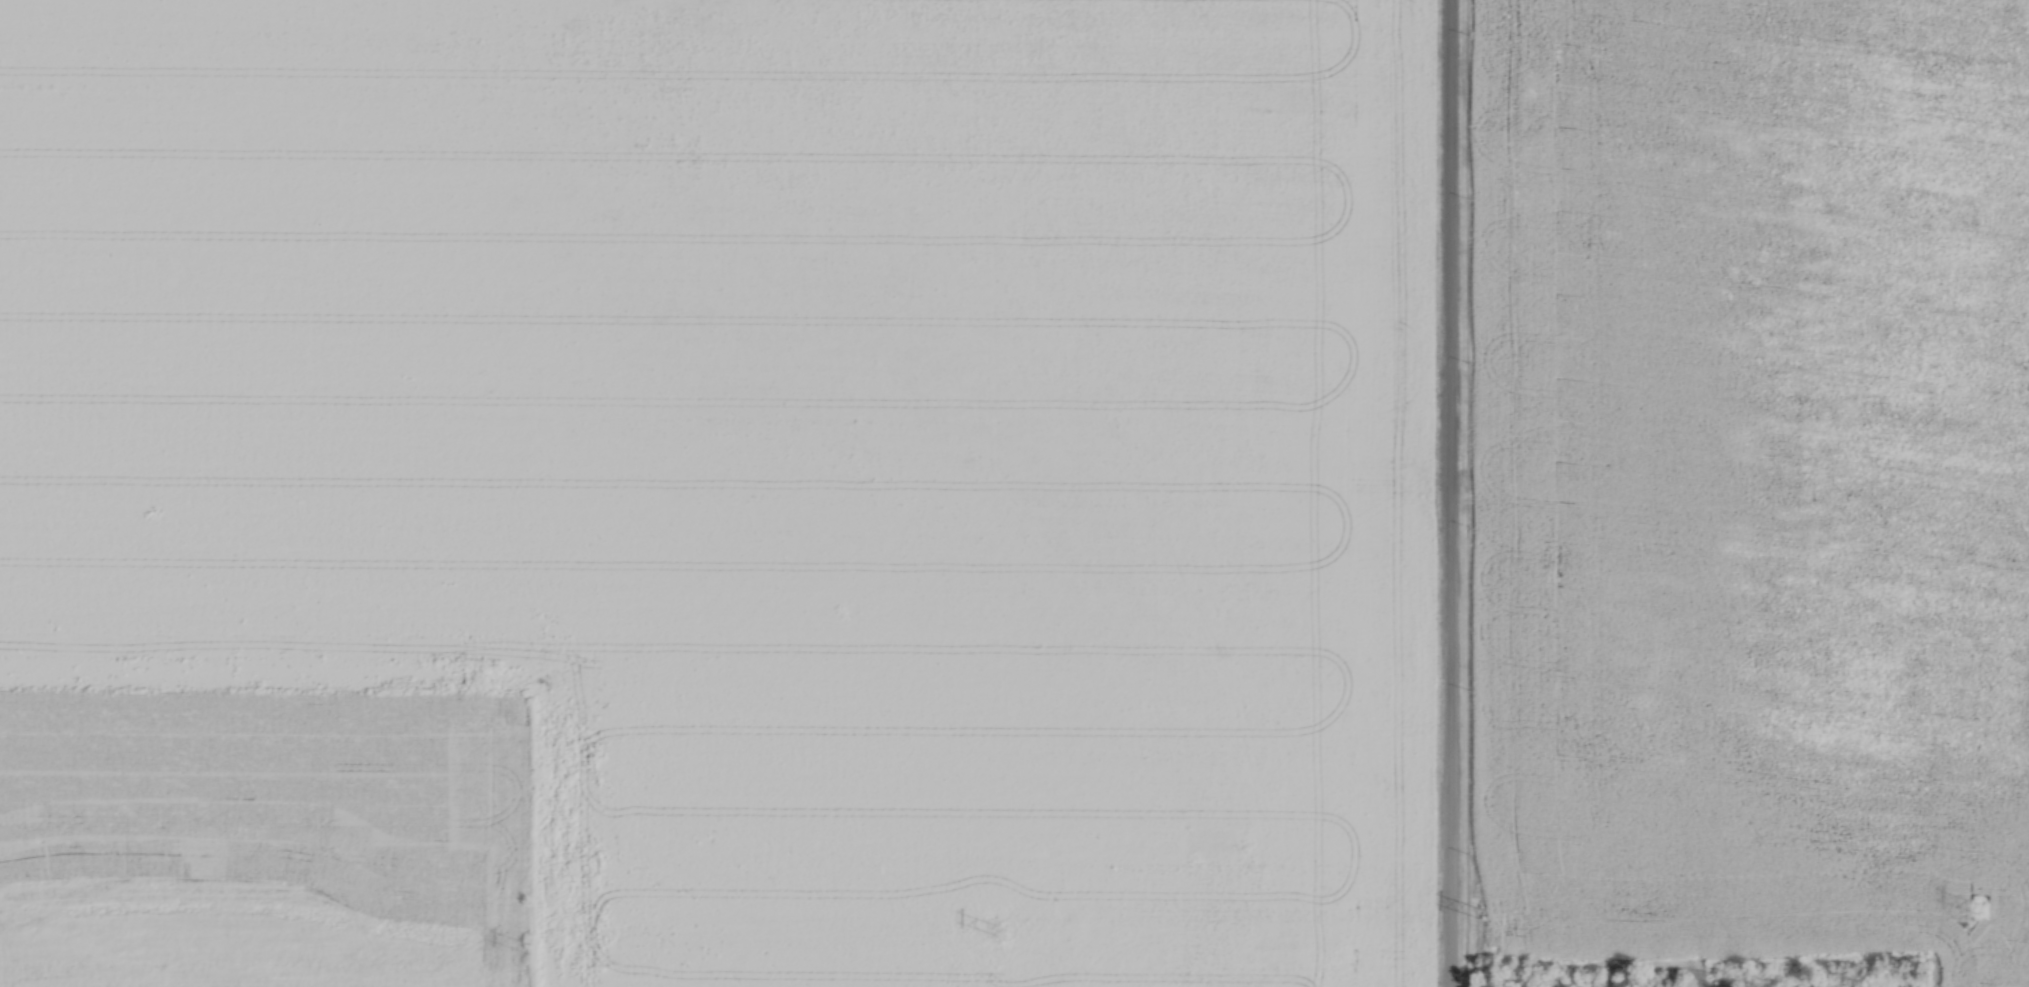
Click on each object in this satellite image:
road: (1446, 493)
power tower: (1977, 906)
power tower: (1478, 910)
power tower: (993, 926)
power tower: (528, 945)

